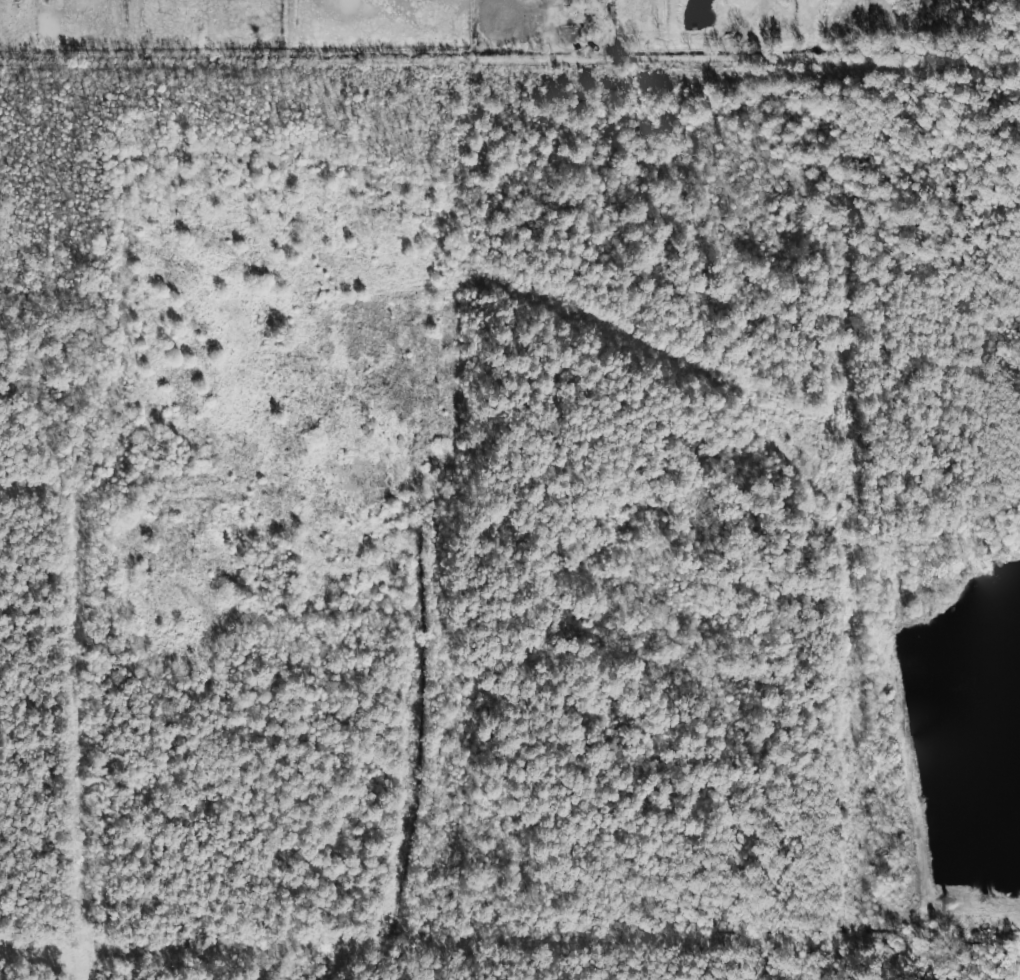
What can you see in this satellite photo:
road: (908, 929)

